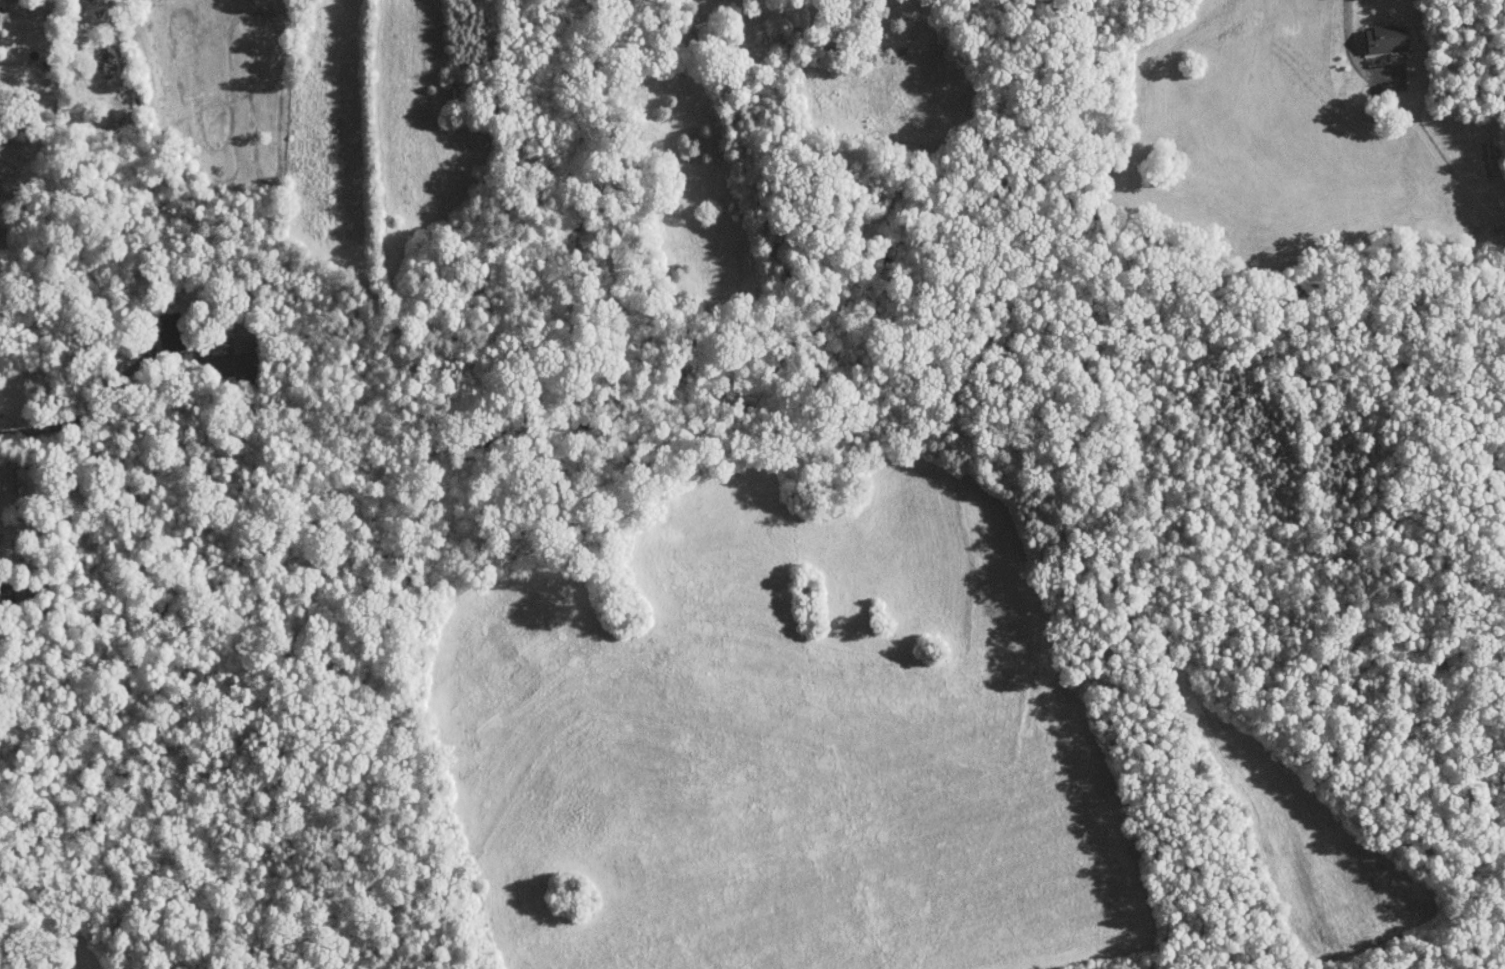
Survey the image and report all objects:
building: (1376, 33)
road: (1342, 49)
building: (159, 326)
building: (235, 330)
road: (65, 415)

